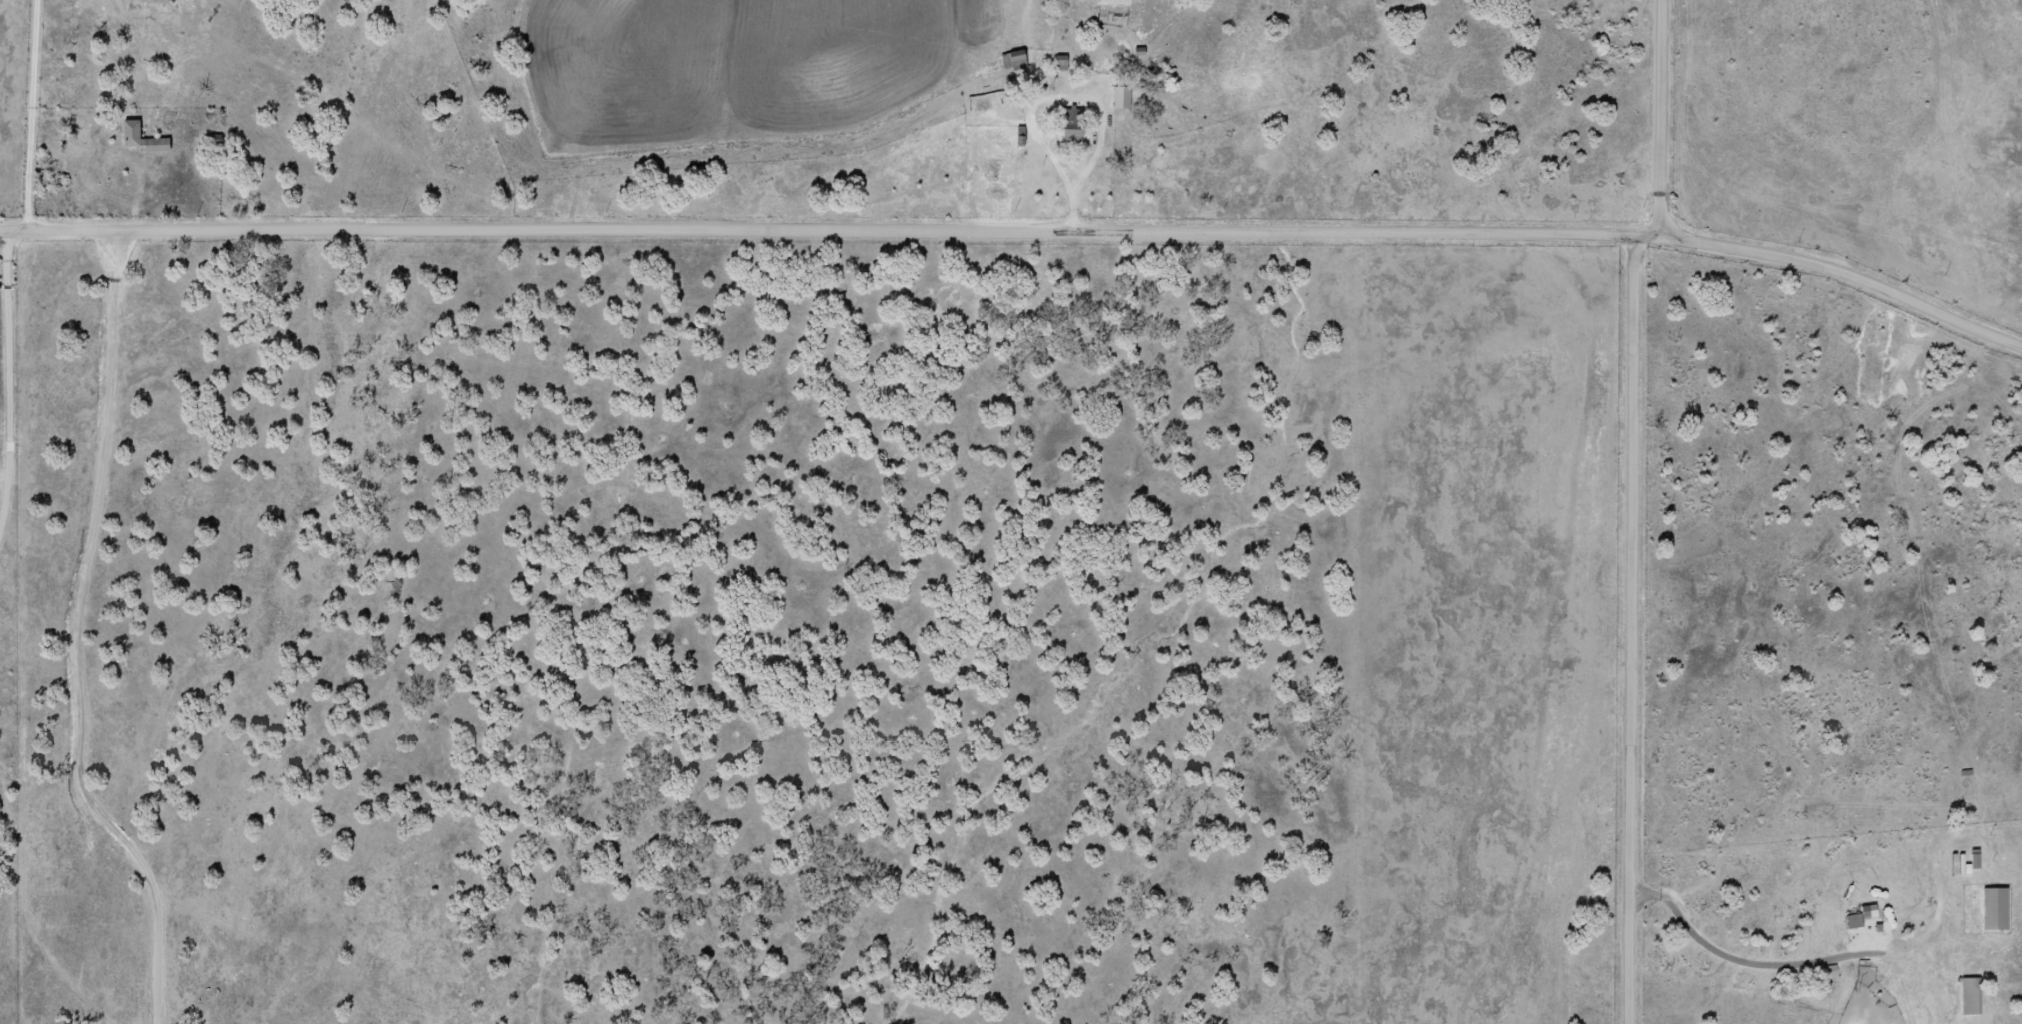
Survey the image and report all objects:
building: (1113, 3)
building: (1017, 62)
building: (1121, 98)
road: (32, 113)
road: (1665, 119)
building: (1071, 124)
building: (141, 140)
road: (4, 227)
road: (1032, 233)
road: (4, 341)
road: (1641, 630)
road: (77, 636)
building: (1995, 910)
building: (1970, 998)

